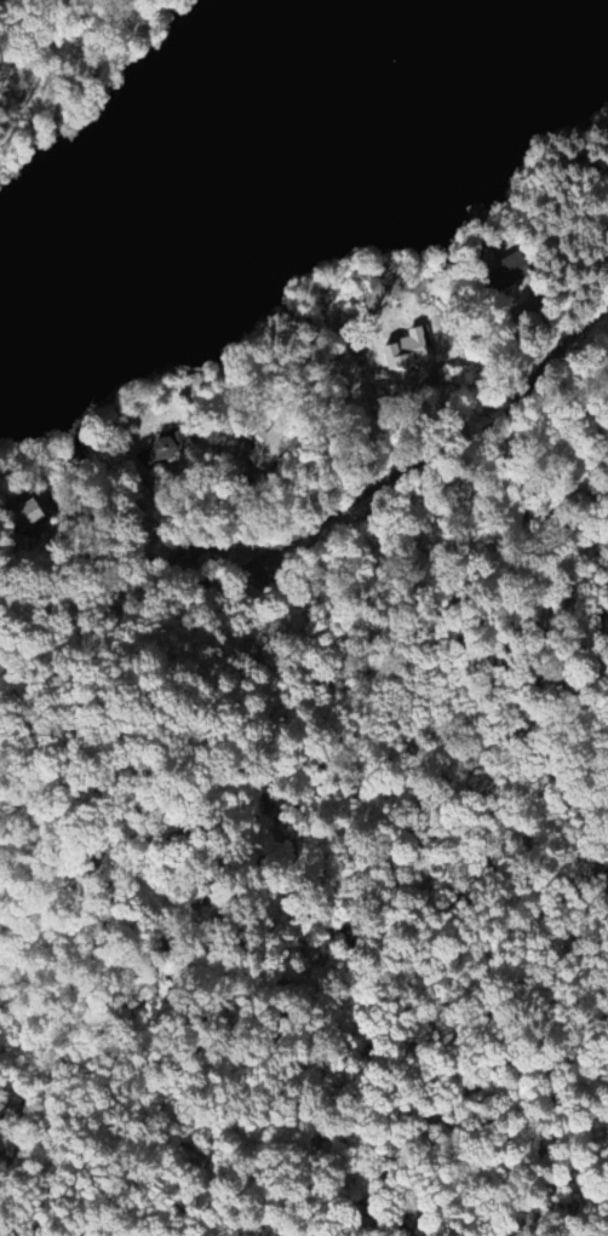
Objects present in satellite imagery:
road: (334, 514)

